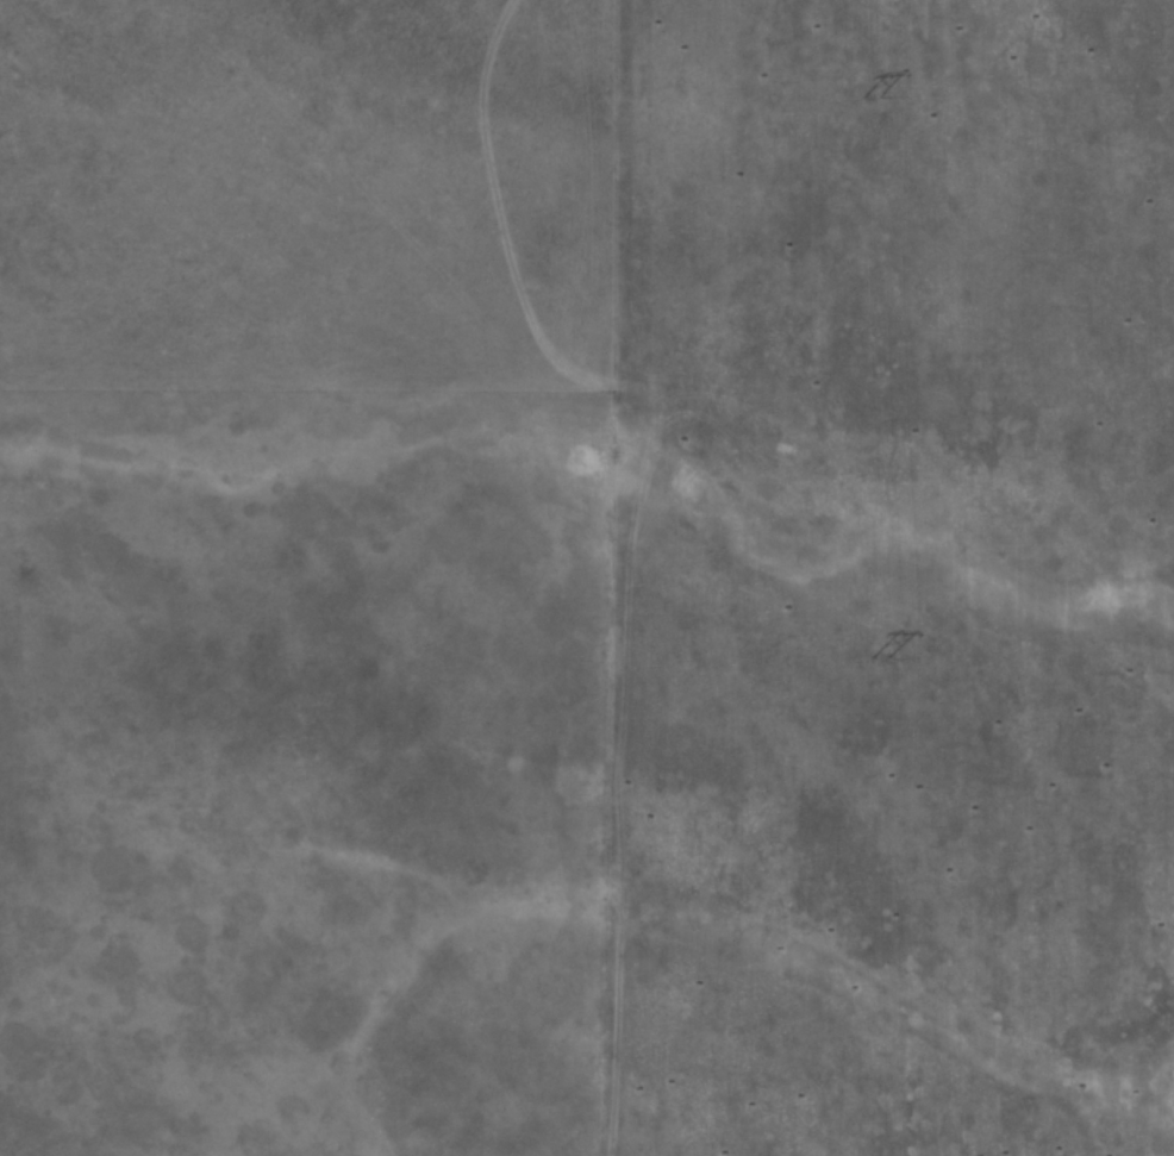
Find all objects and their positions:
power tower: (867, 98)
power tower: (874, 658)

